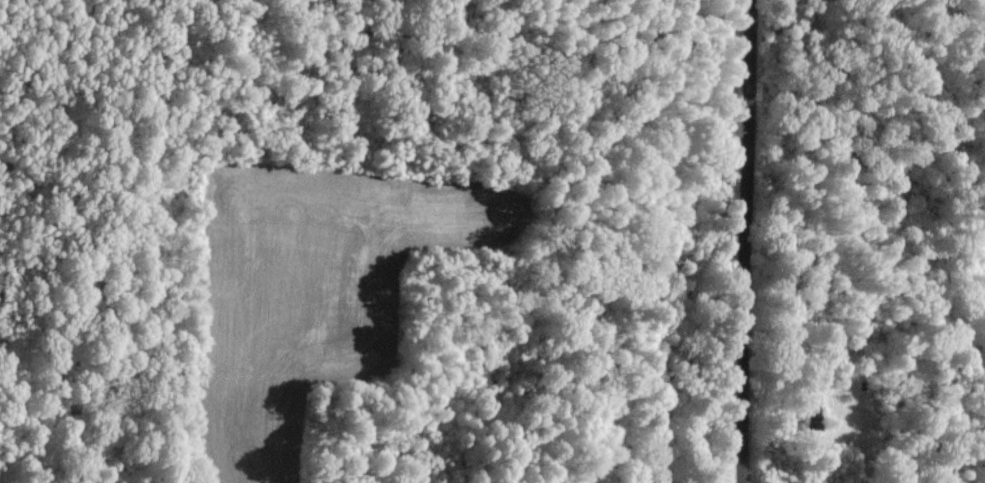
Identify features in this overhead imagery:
road: (749, 241)

